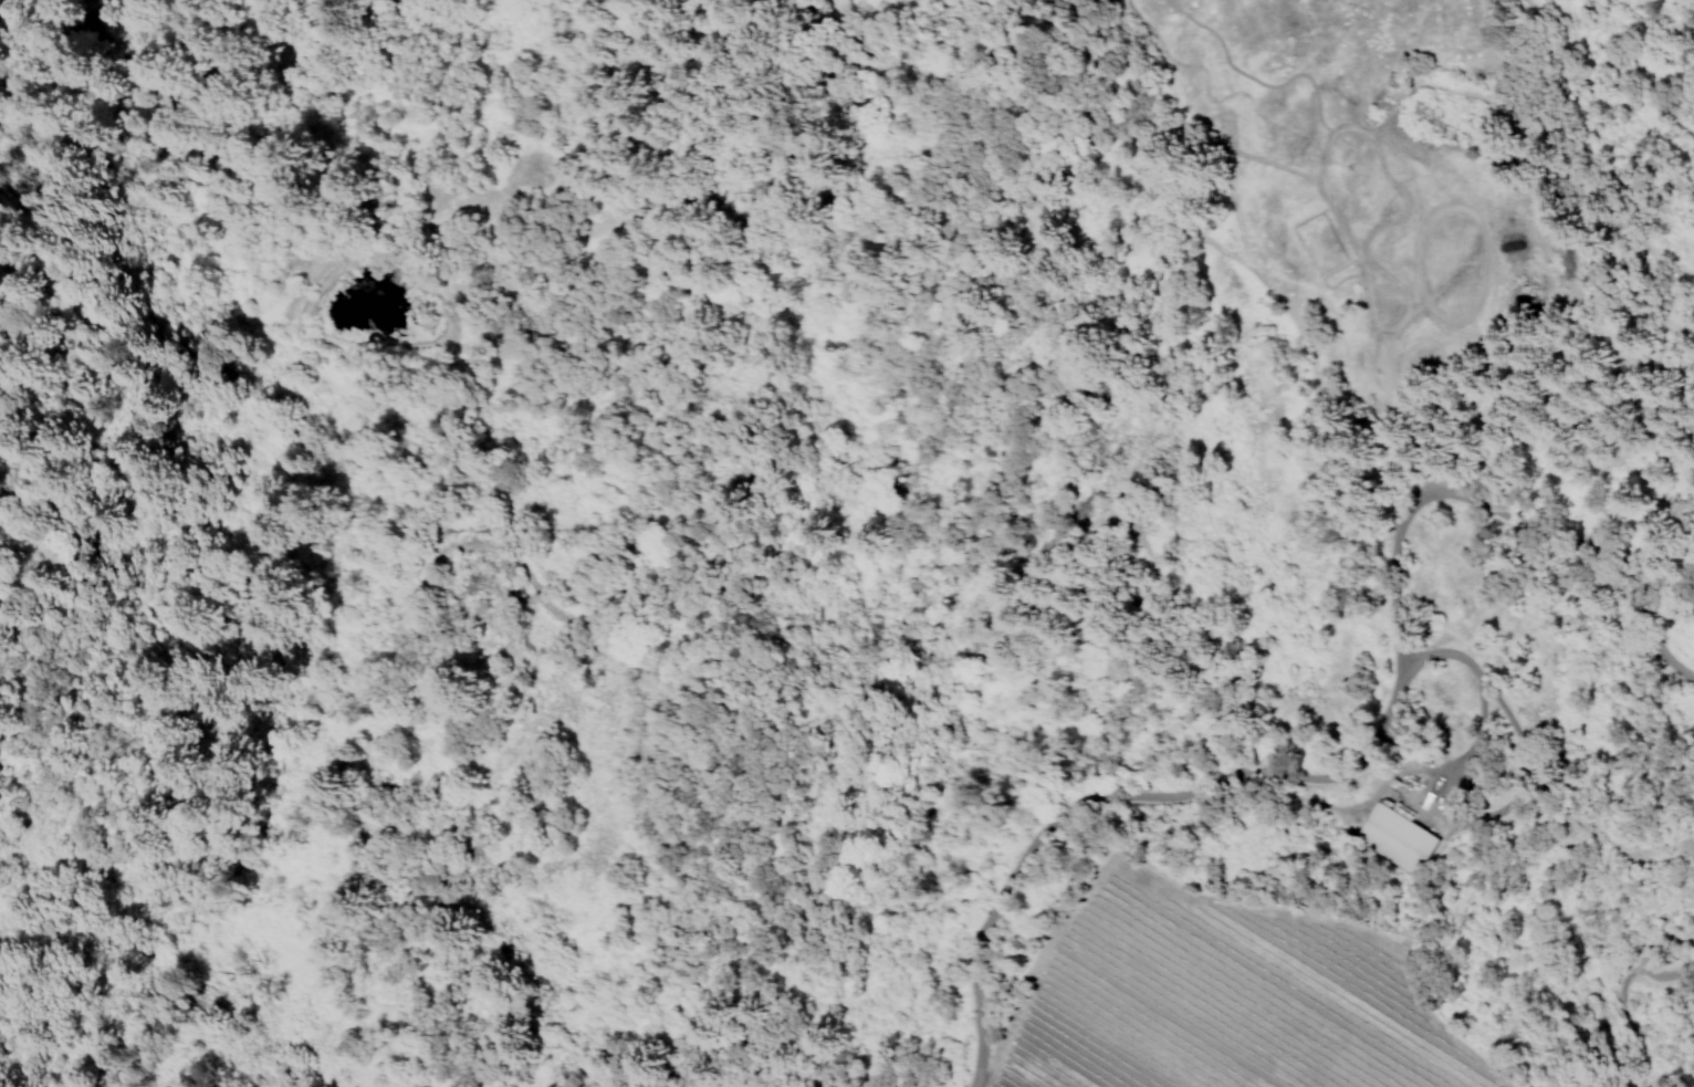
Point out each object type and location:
road: (1602, 599)
road: (1479, 696)
road: (1248, 767)
building: (1395, 838)
road: (1618, 997)

